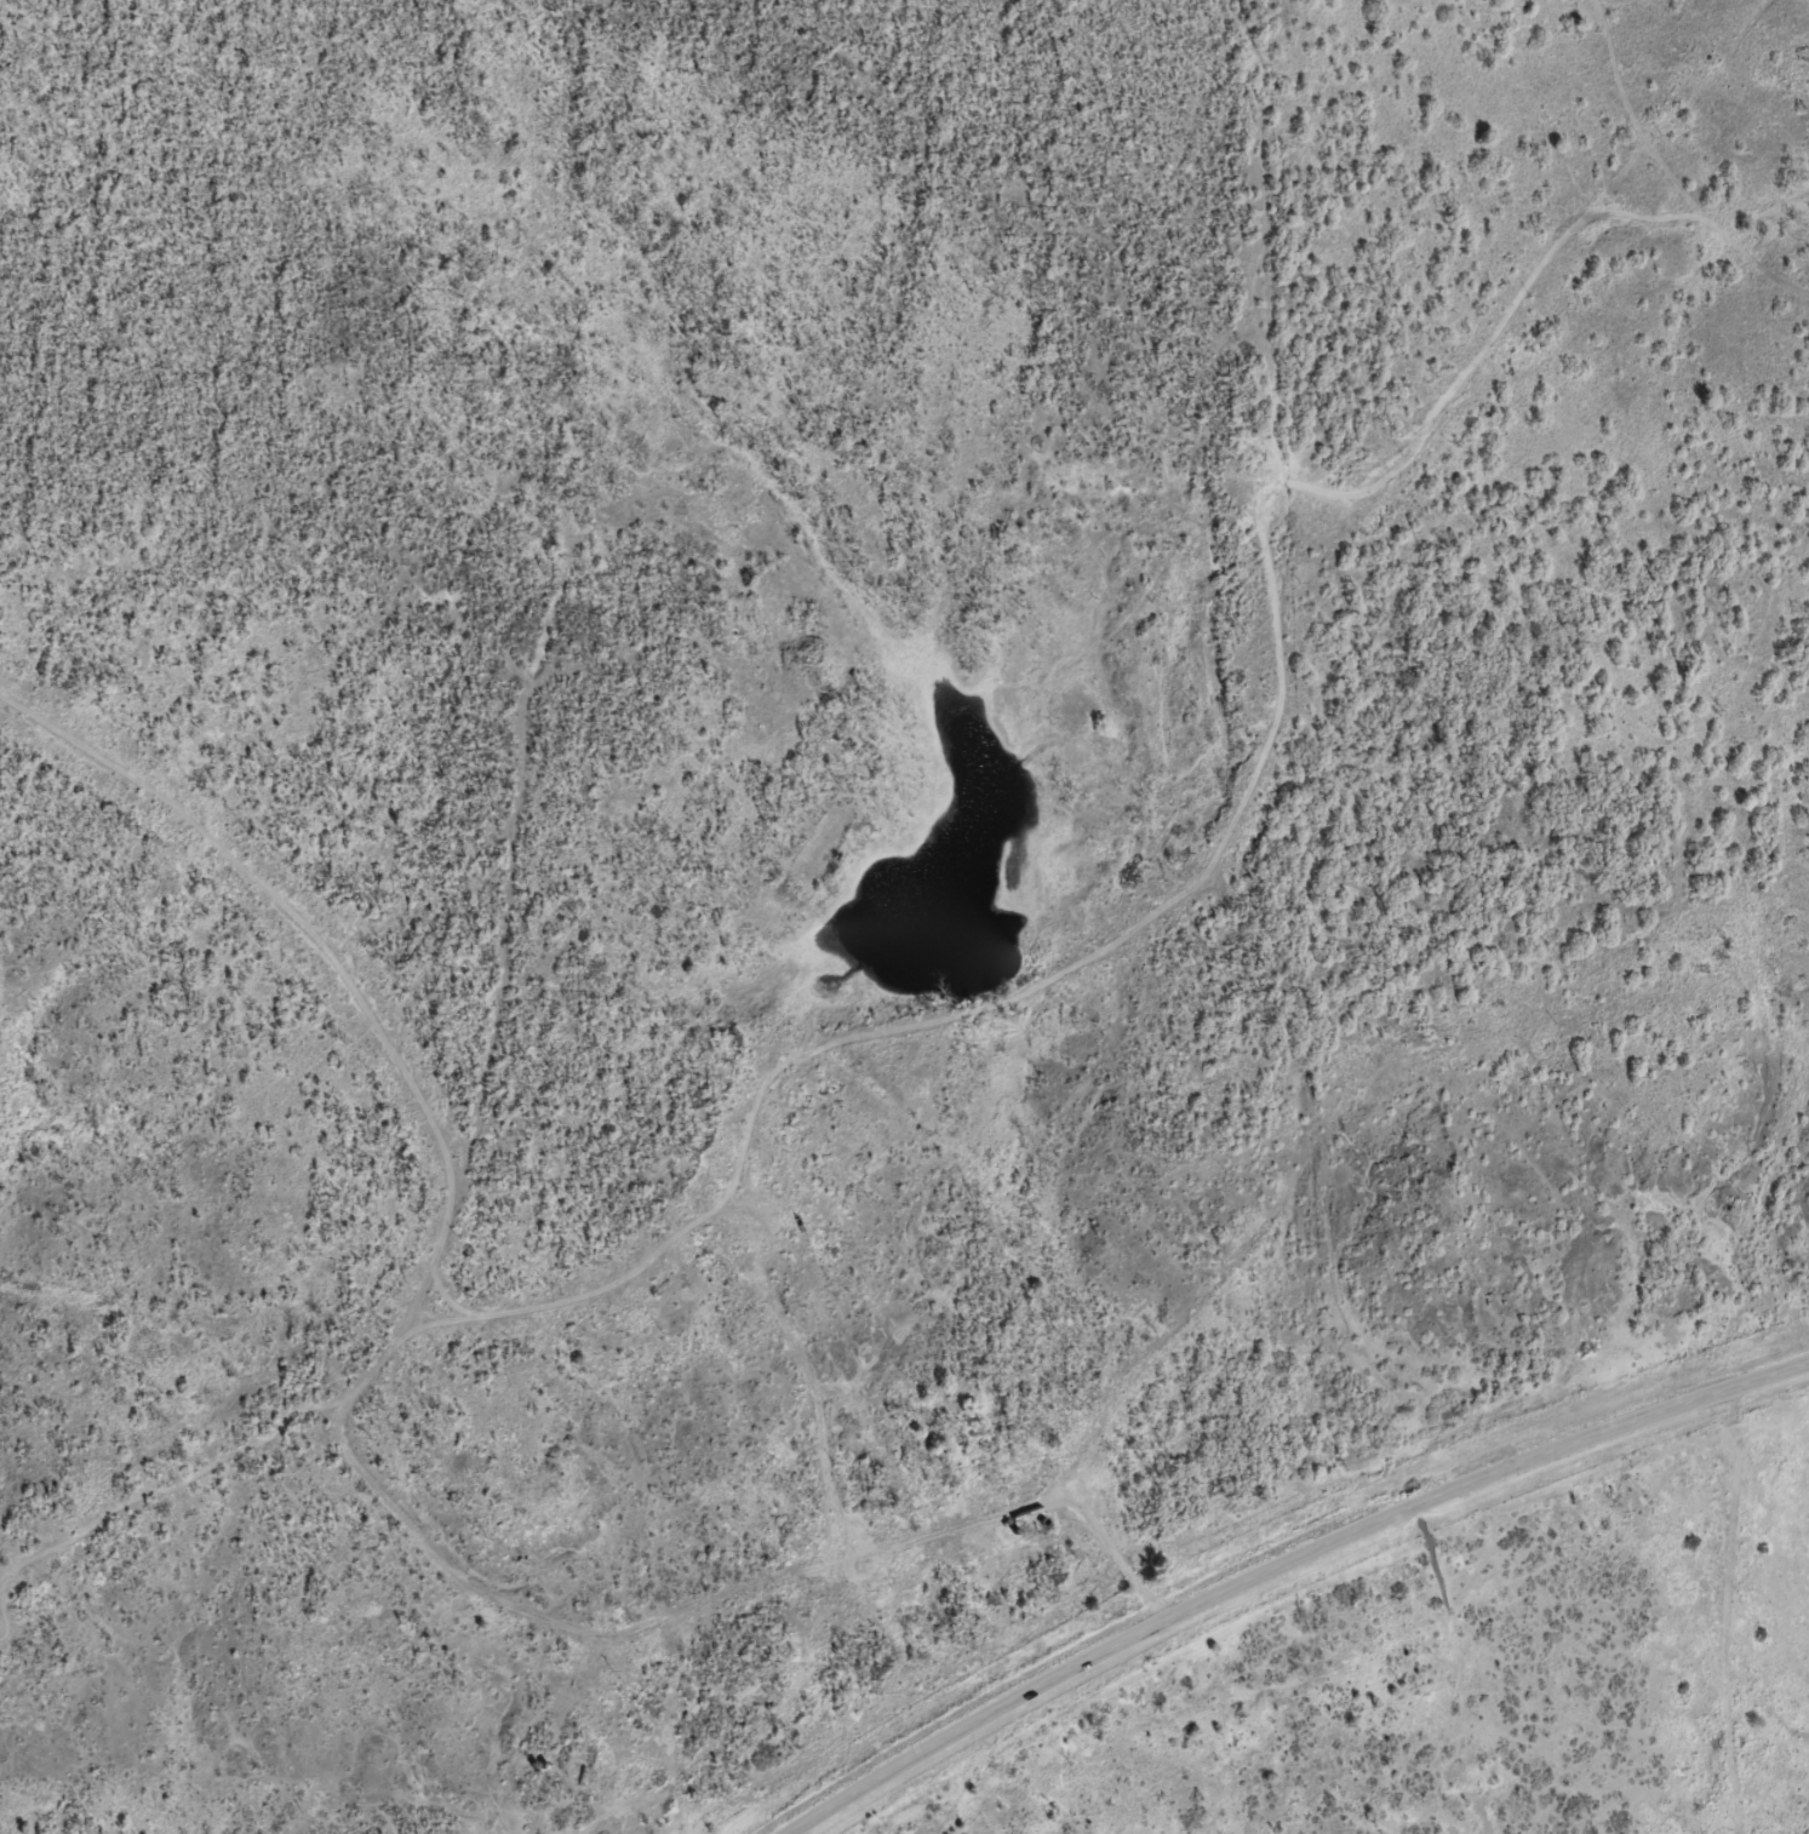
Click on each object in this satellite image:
road: (1259, 850)
road: (374, 1391)
road: (1288, 1565)
road: (1728, 1618)

